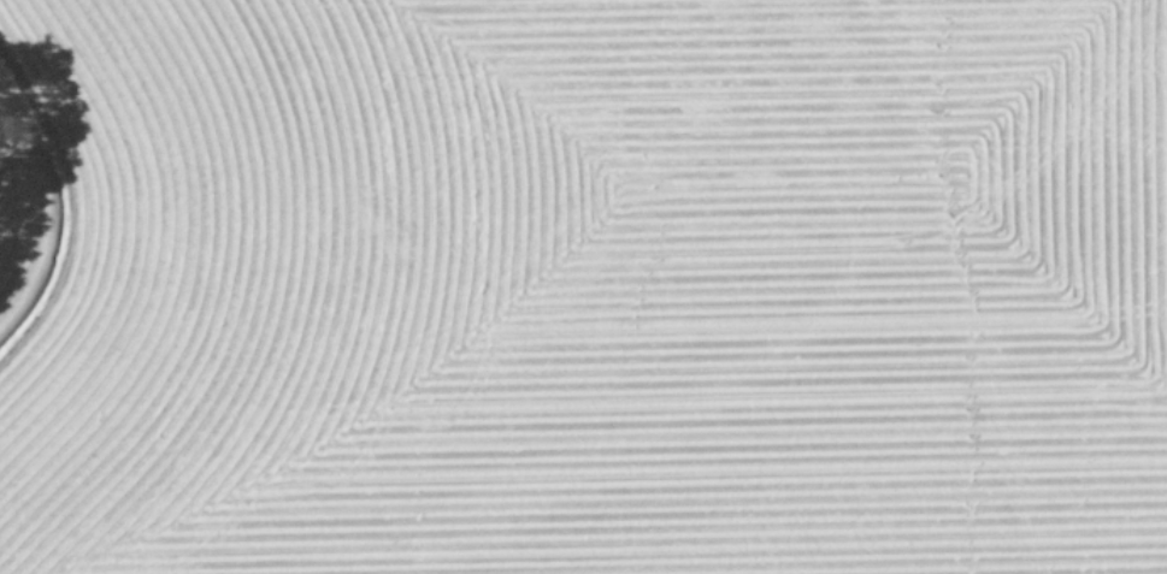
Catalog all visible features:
crop: (583, 286)

